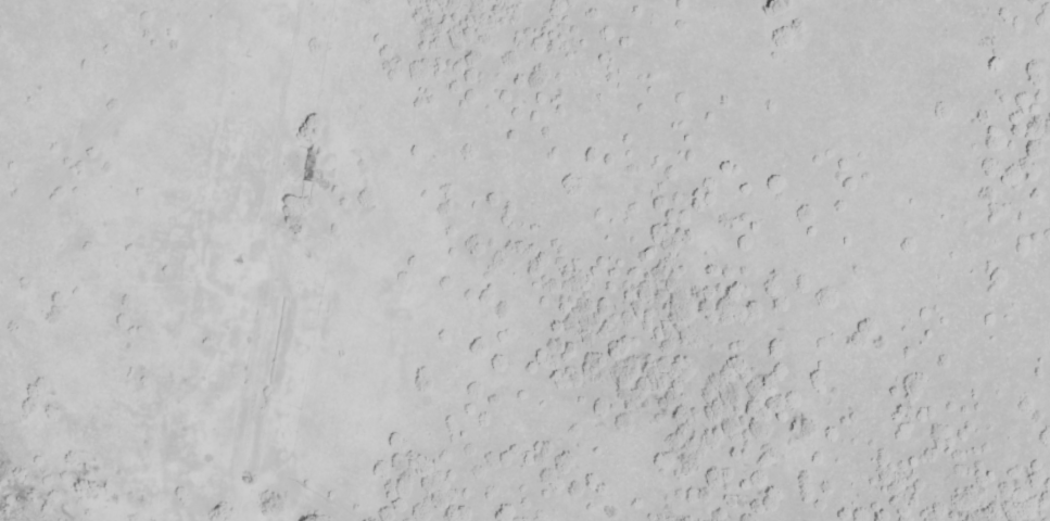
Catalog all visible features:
building: (308, 165)

